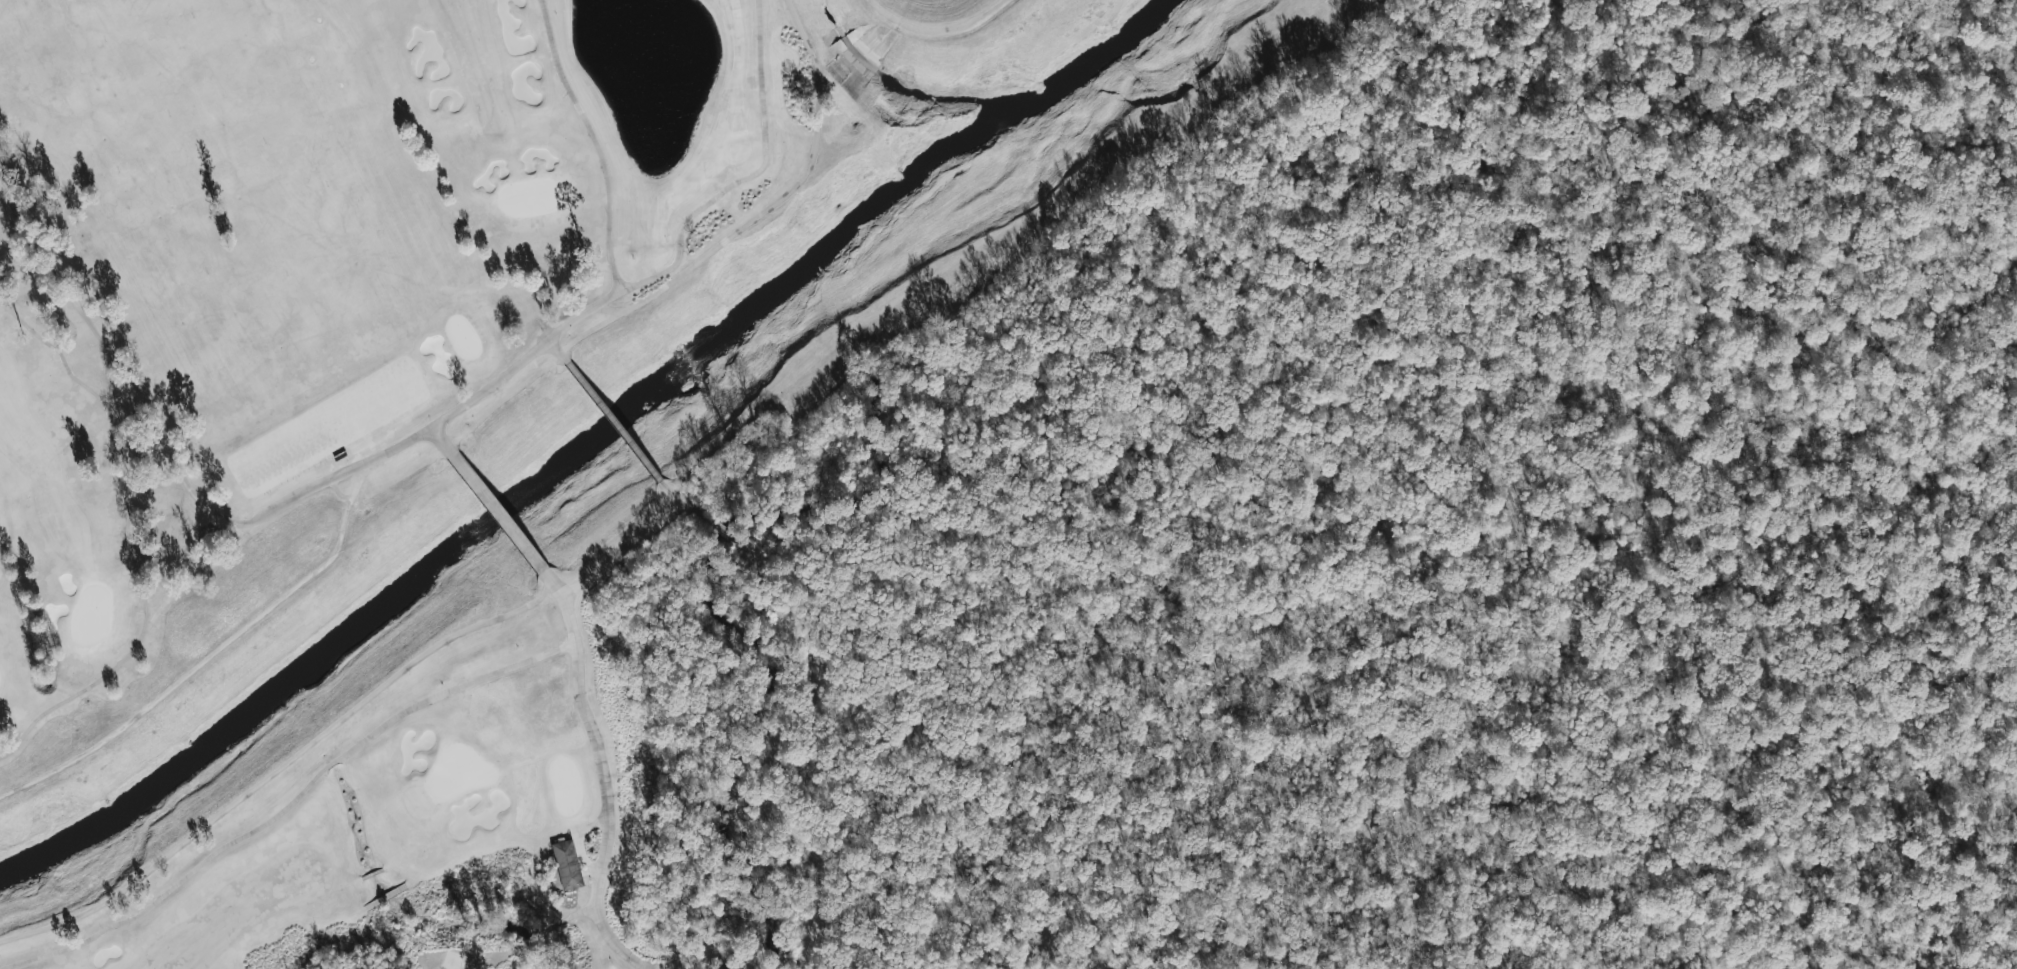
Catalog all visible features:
road: (436, 445)
river: (582, 449)
park: (384, 490)
road: (493, 517)
park: (91, 528)
park: (551, 564)
road: (603, 786)
building: (566, 865)
road: (616, 946)
road: (692, 966)
road: (716, 967)

